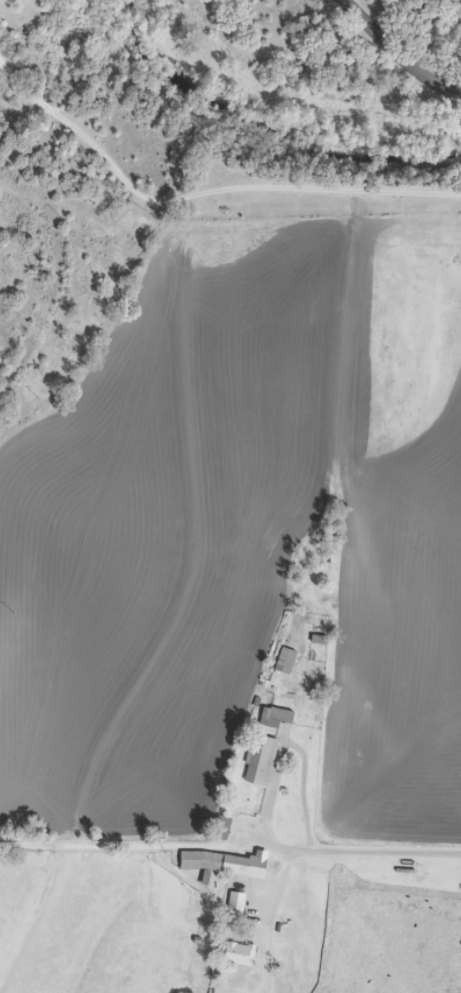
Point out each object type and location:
road: (398, 54)
road: (201, 193)
railway: (52, 421)
building: (290, 660)
building: (281, 716)
building: (267, 759)
road: (363, 853)
building: (232, 862)
building: (240, 910)
building: (244, 953)

